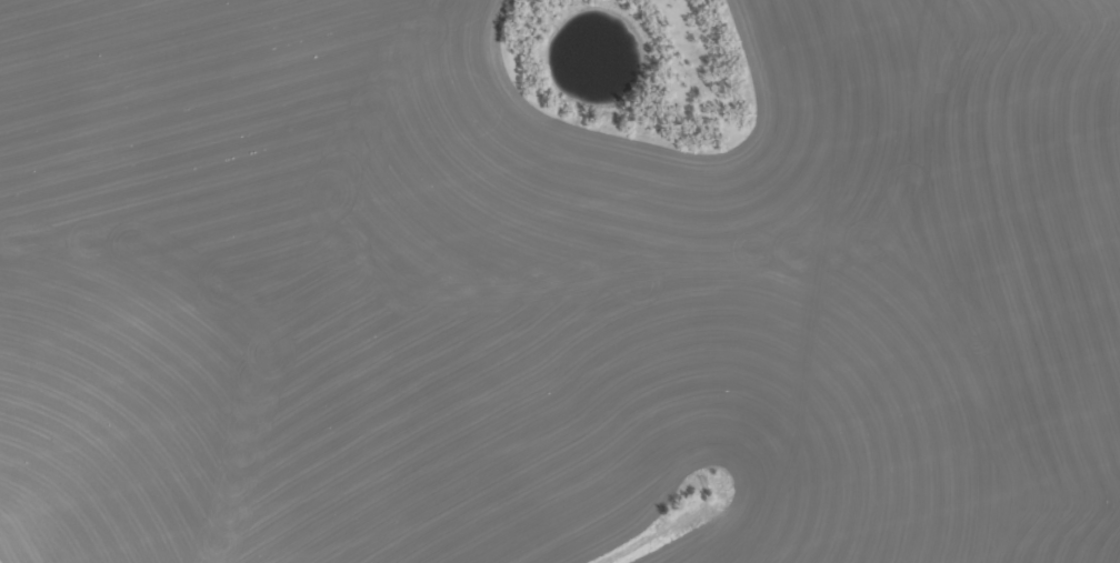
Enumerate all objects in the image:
road: (999, 288)

